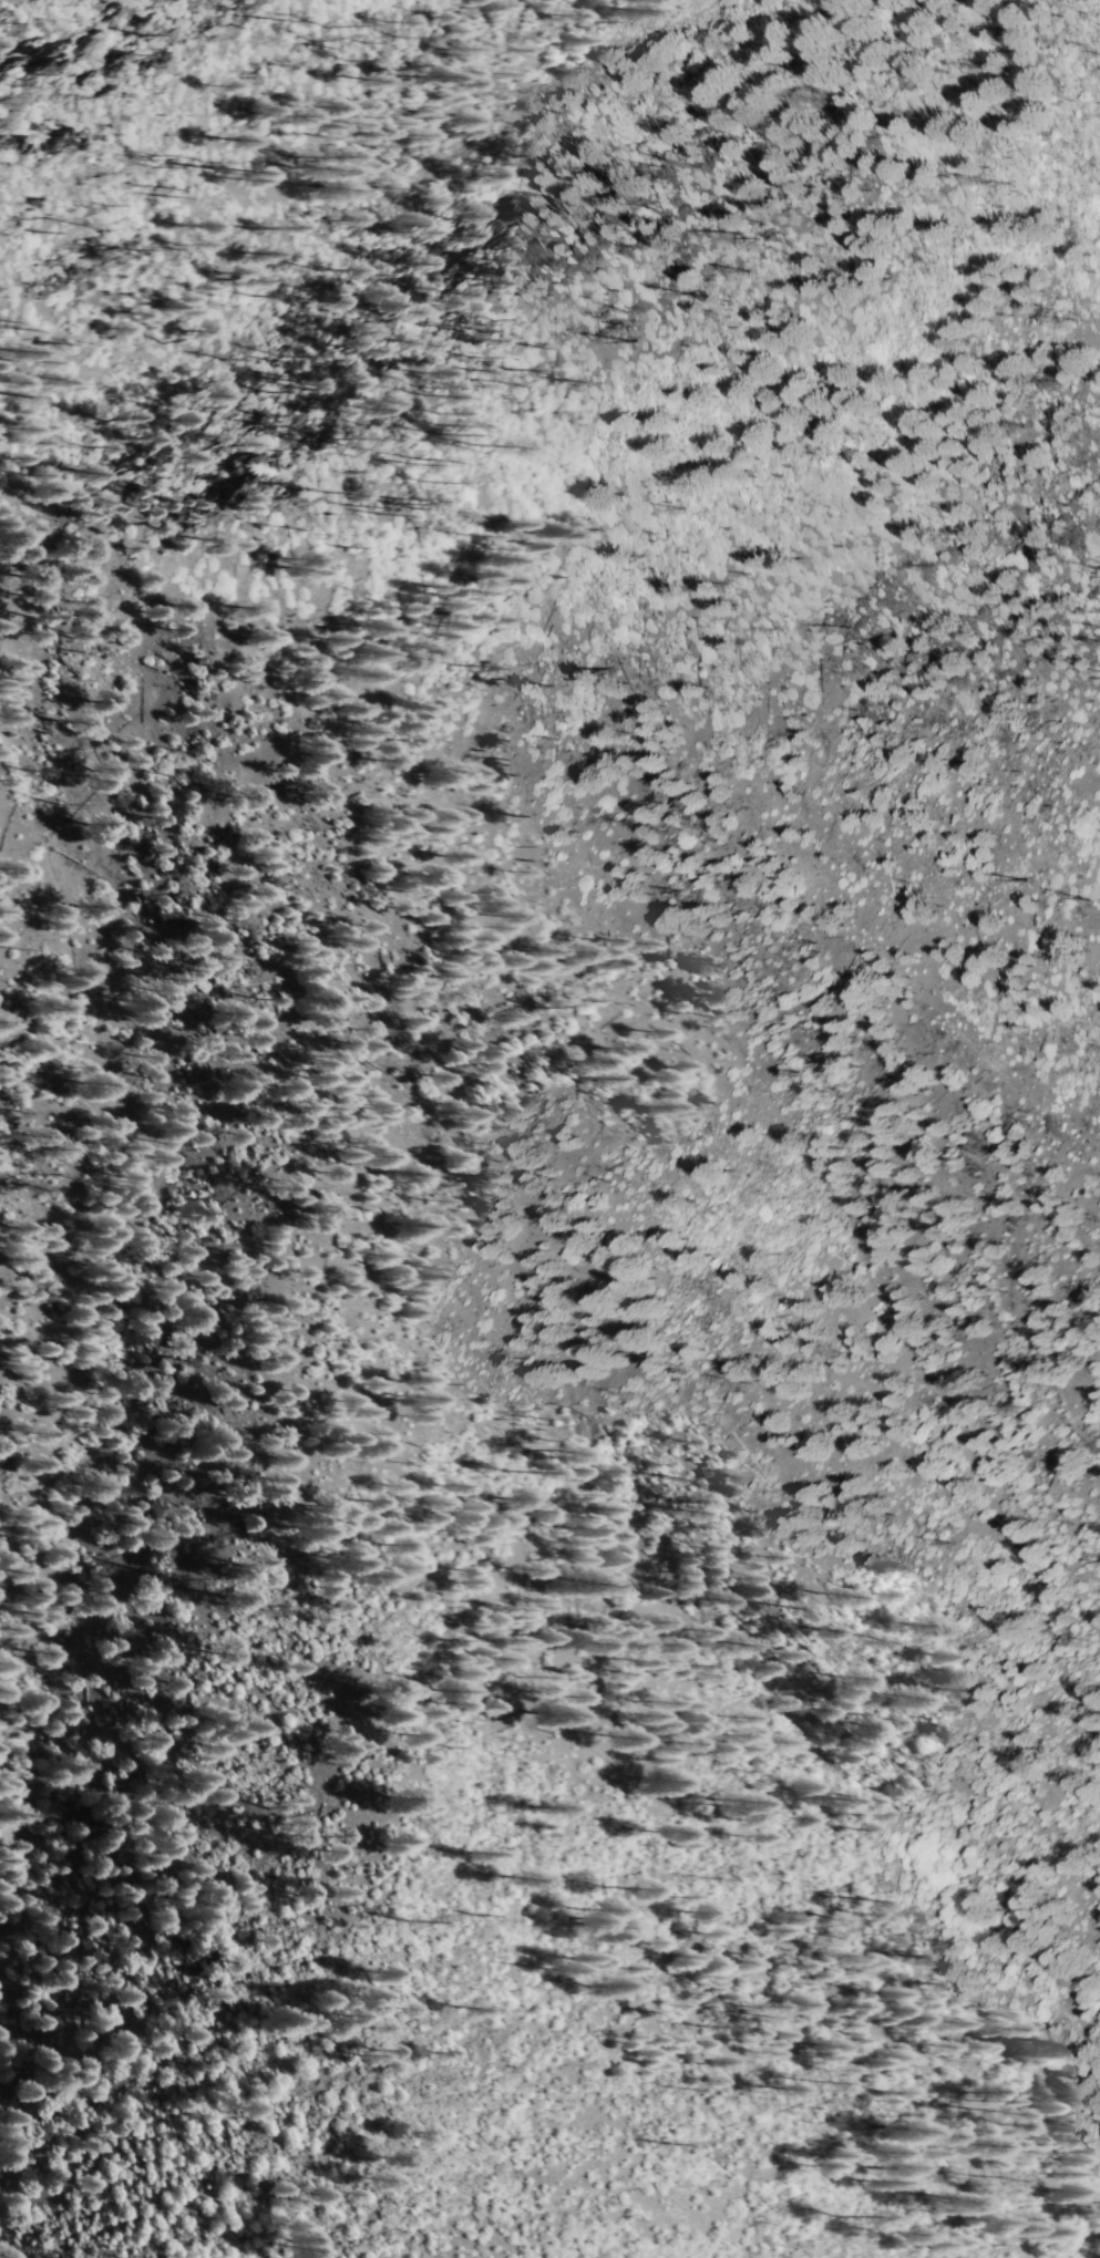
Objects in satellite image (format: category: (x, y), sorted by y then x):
helipad: (771, 1783)

